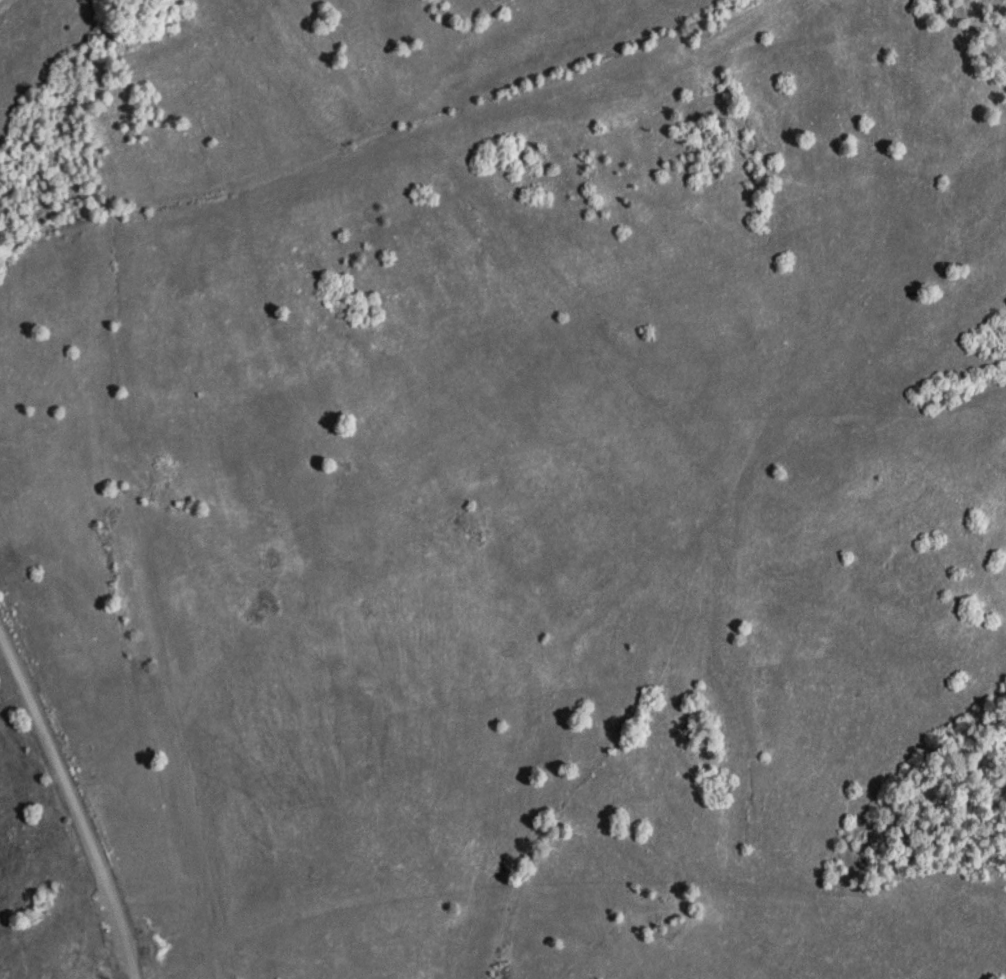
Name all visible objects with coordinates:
road: (69, 805)

